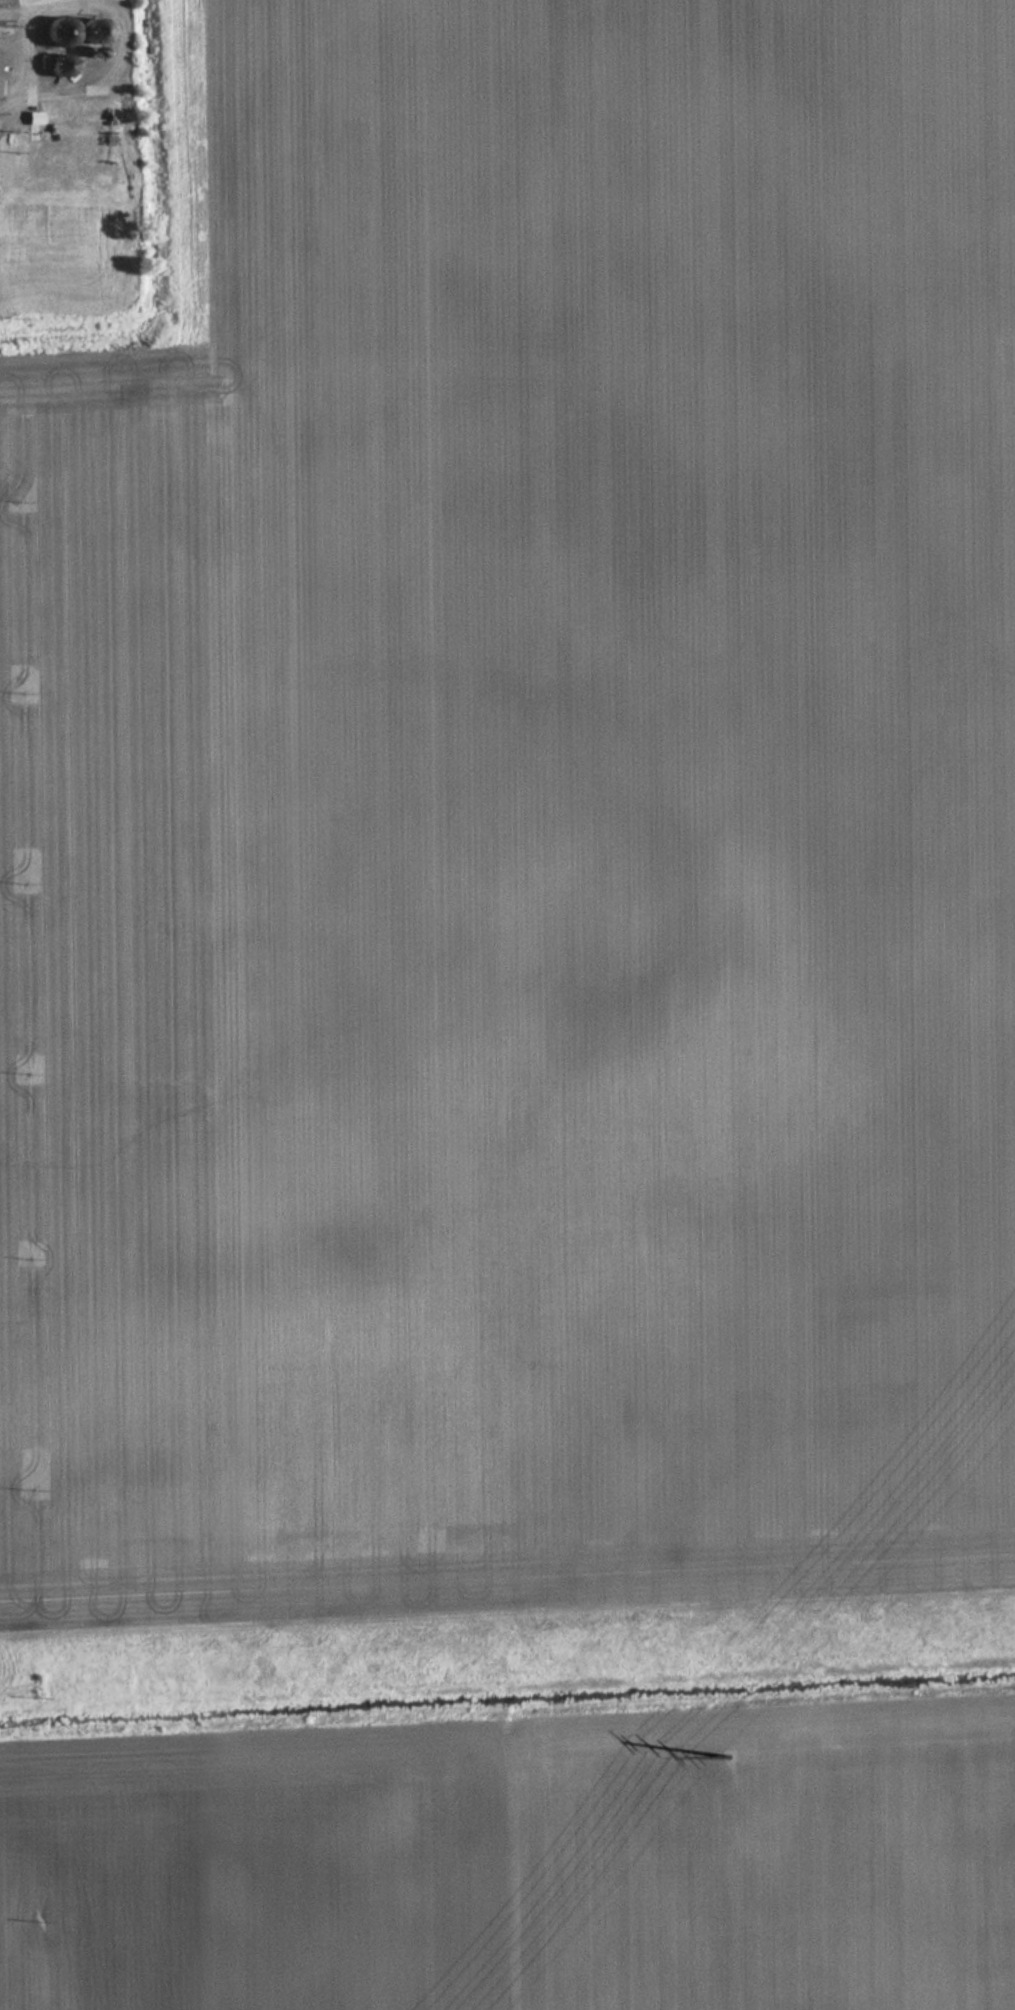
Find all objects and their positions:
building: (6, 10)
building: (62, 32)
building: (64, 66)
building: (32, 133)
power tower: (743, 1757)

